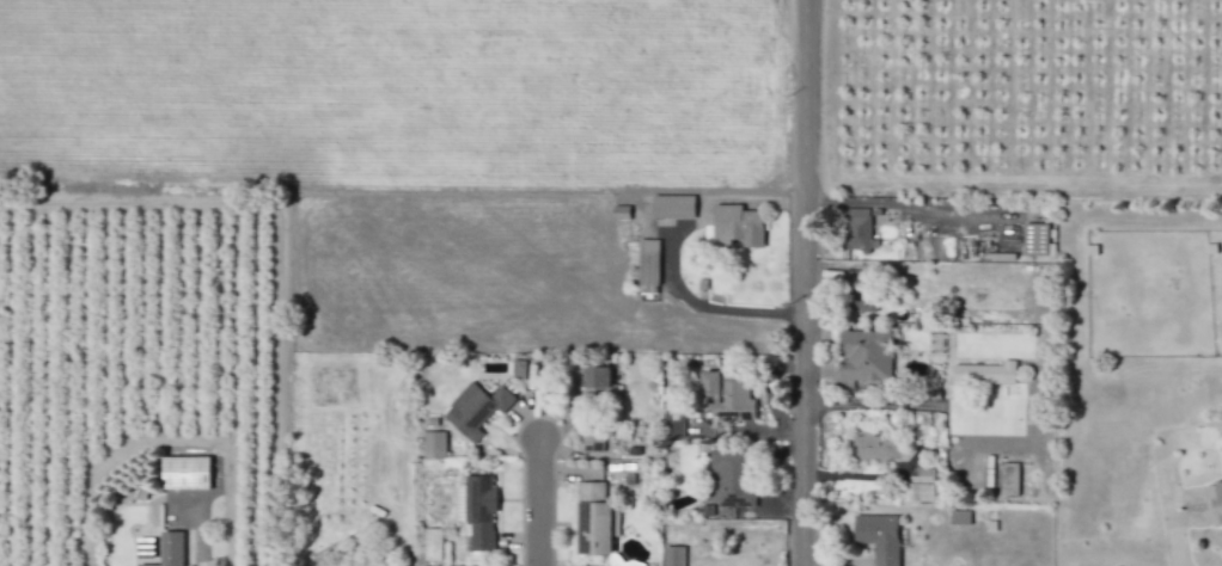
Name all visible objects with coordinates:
crop: (396, 96)
building: (672, 207)
building: (619, 211)
building: (733, 227)
building: (857, 230)
building: (1035, 240)
road: (671, 257)
building: (648, 266)
road: (801, 282)
building: (857, 290)
building: (864, 355)
building: (518, 369)
building: (984, 374)
building: (595, 383)
building: (725, 396)
road: (904, 406)
building: (475, 410)
building: (672, 423)
building: (591, 439)
building: (433, 444)
building: (880, 448)
building: (184, 473)
building: (728, 478)
building: (1009, 479)
building: (918, 487)
road: (536, 502)
building: (1214, 503)
building: (476, 512)
building: (958, 517)
building: (594, 519)
building: (878, 537)
building: (432, 543)
building: (169, 549)
building: (672, 555)
road: (407, 560)

